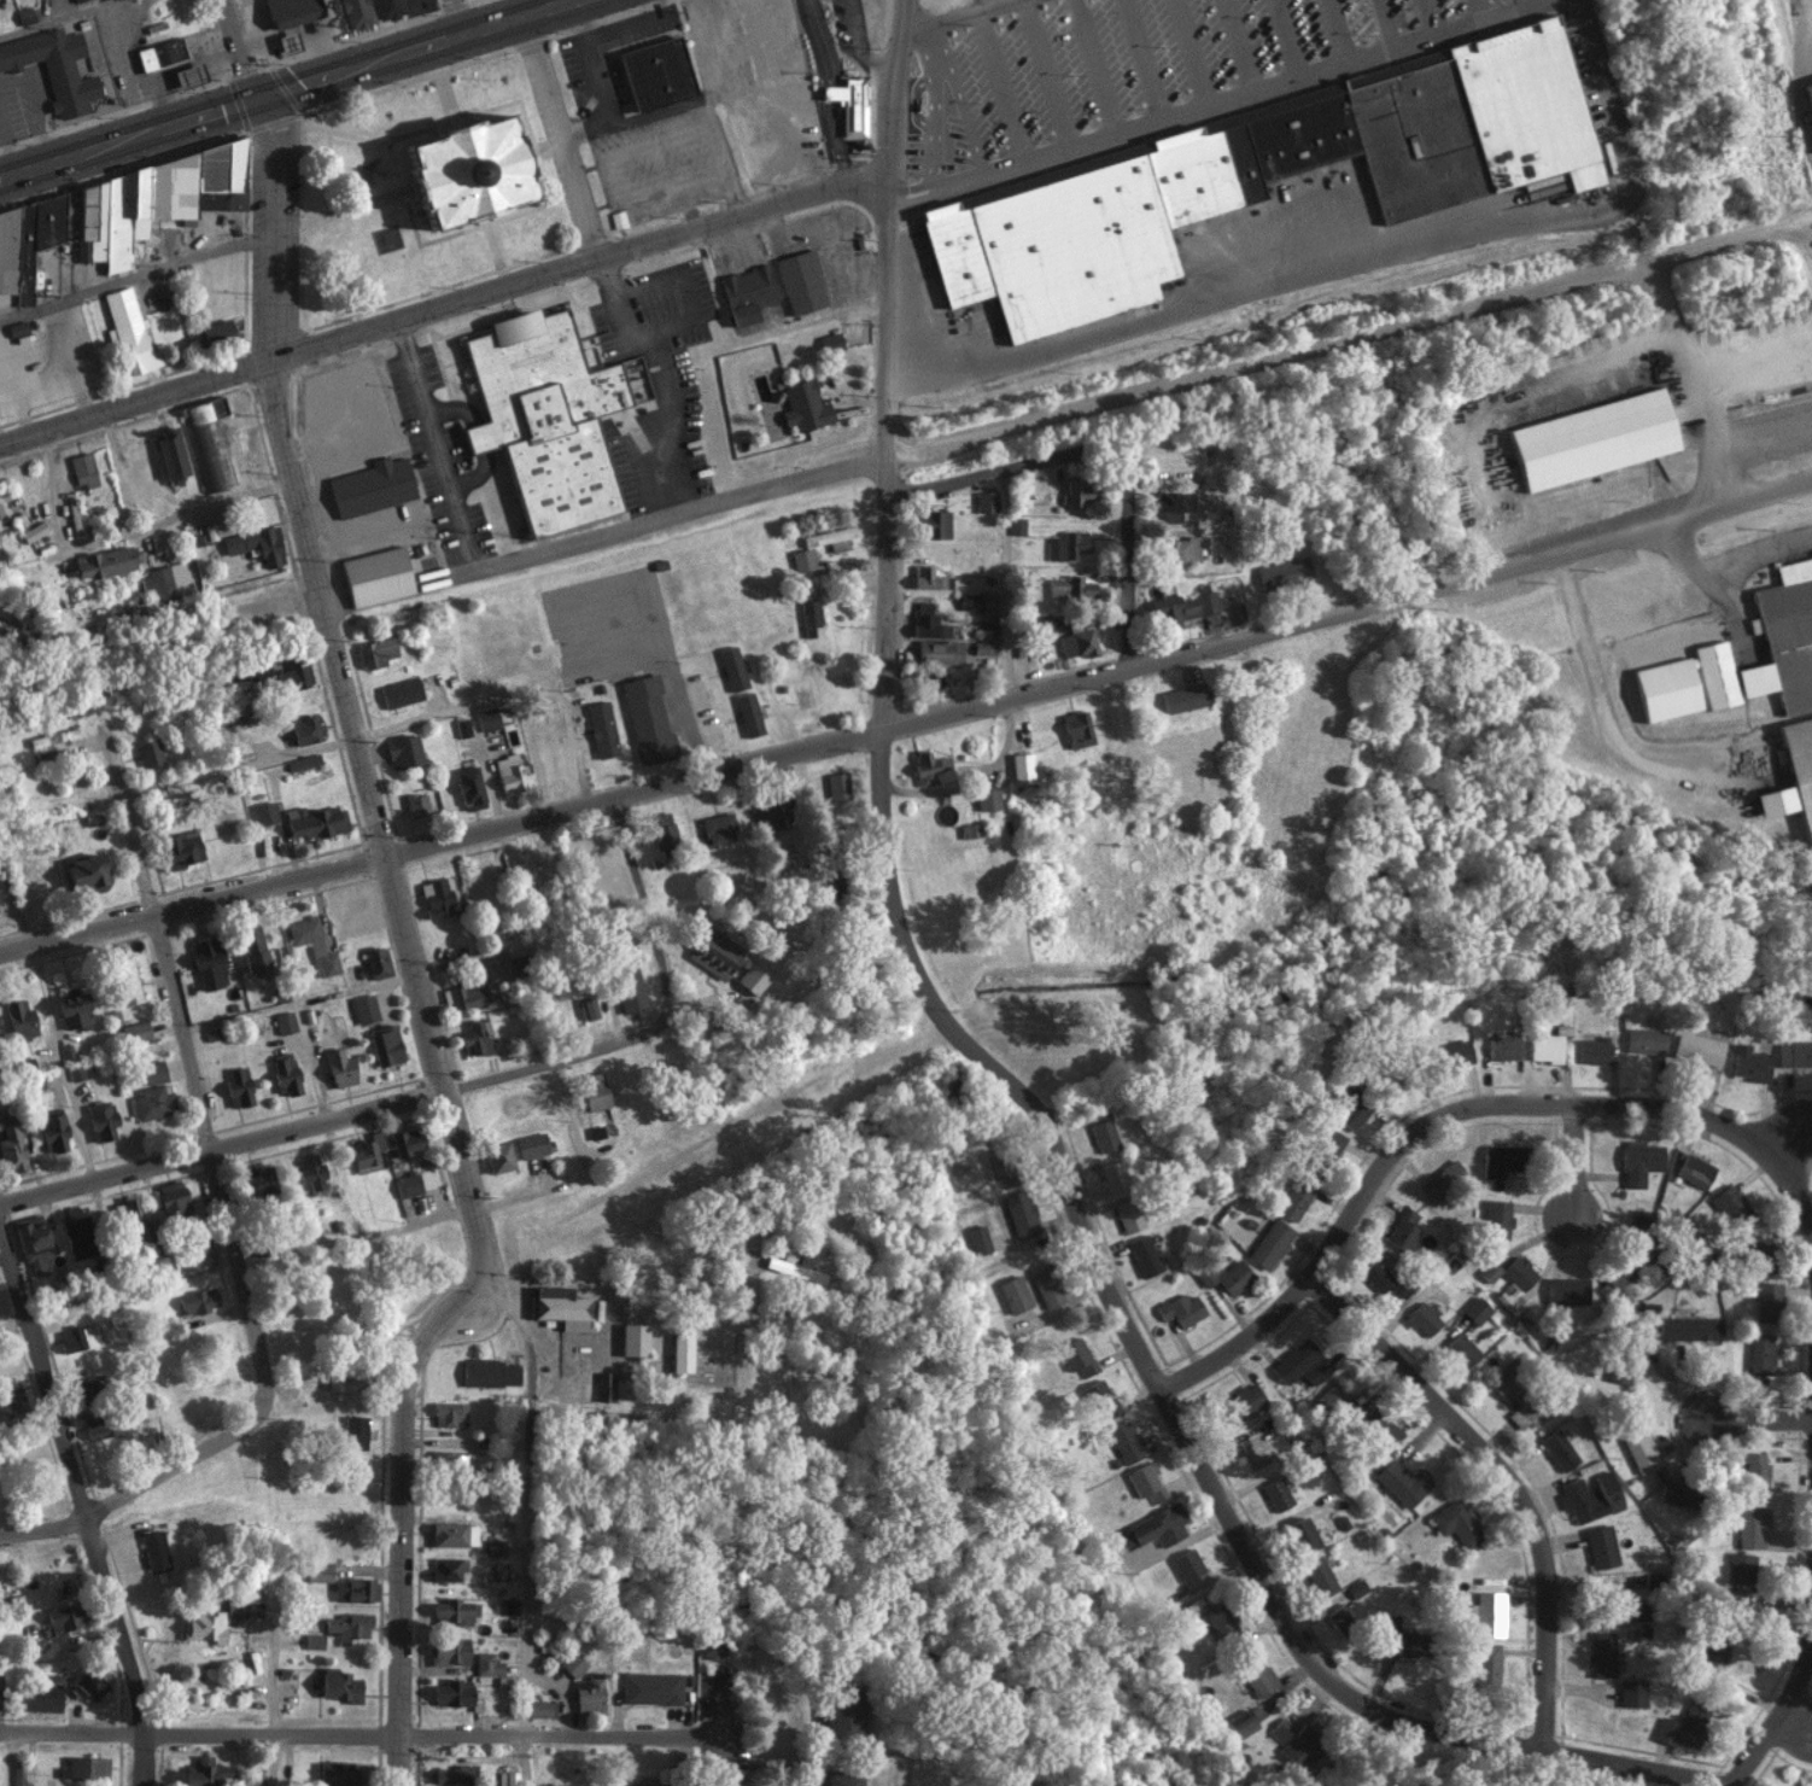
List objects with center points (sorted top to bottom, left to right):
building: (74, 0)
road: (1550, 1)
road: (1489, 2)
building: (388, 7)
building: (291, 11)
road: (1427, 11)
building: (356, 12)
road: (455, 14)
building: (23, 16)
road: (1384, 18)
road: (65, 19)
road: (955, 19)
road: (1333, 25)
road: (1284, 33)
road: (1237, 39)
building: (286, 41)
road: (1185, 46)
road: (240, 47)
building: (159, 53)
road: (1141, 53)
road: (1092, 59)
building: (53, 66)
building: (654, 72)
building: (187, 75)
road: (998, 81)
building: (1810, 82)
road: (281, 86)
road: (1199, 93)
road: (929, 101)
building: (849, 103)
road: (961, 104)
road: (562, 138)
building: (480, 174)
building: (1122, 183)
building: (145, 200)
building: (616, 218)
building: (24, 249)
road: (1360, 258)
road: (134, 276)
building: (801, 281)
building: (747, 293)
road: (444, 311)
building: (215, 329)
building: (128, 331)
building: (831, 342)
road: (889, 367)
building: (803, 405)
building: (548, 415)
building: (1594, 438)
building: (207, 443)
building: (169, 453)
road: (1015, 466)
building: (82, 469)
building: (370, 486)
building: (1077, 492)
building: (986, 501)
building: (1176, 503)
building: (0, 512)
building: (931, 523)
building: (1016, 525)
building: (831, 538)
building: (256, 544)
building: (1066, 544)
road: (557, 549)
building: (1180, 550)
building: (802, 559)
building: (101, 561)
road: (1726, 561)
building: (1282, 572)
building: (375, 576)
building: (925, 577)
building: (164, 580)
road: (1005, 582)
building: (1069, 586)
building: (977, 601)
building: (1183, 607)
road: (1348, 612)
building: (809, 615)
building: (927, 621)
building: (1783, 637)
building: (1077, 638)
building: (982, 647)
road: (1128, 649)
building: (937, 650)
building: (374, 652)
building: (731, 669)
building: (1714, 673)
building: (293, 676)
building: (1666, 688)
building: (399, 691)
building: (1182, 698)
building: (550, 710)
building: (1808, 712)
building: (748, 713)
building: (486, 718)
building: (645, 719)
road: (397, 723)
building: (461, 726)
building: (305, 729)
building: (601, 729)
building: (1076, 729)
building: (52, 736)
building: (403, 751)
building: (148, 752)
building: (302, 761)
building: (1800, 765)
building: (930, 767)
building: (1021, 767)
building: (508, 774)
building: (837, 784)
building: (468, 788)
building: (987, 799)
building: (1776, 801)
building: (416, 804)
building: (263, 812)
building: (768, 816)
building: (314, 821)
building: (661, 828)
building: (718, 828)
road: (440, 844)
building: (179, 848)
building: (86, 872)
building: (437, 897)
road: (642, 907)
building: (311, 944)
building: (252, 947)
road: (404, 949)
building: (714, 952)
building: (376, 962)
building: (206, 963)
building: (515, 965)
building: (752, 979)
building: (127, 980)
building: (627, 986)
building: (463, 994)
road: (294, 1002)
road: (294, 1004)
building: (72, 1008)
building: (364, 1008)
building: (588, 1009)
building: (18, 1019)
building: (284, 1022)
building: (134, 1032)
building: (473, 1039)
building: (1644, 1040)
building: (1548, 1044)
building: (385, 1045)
building: (1503, 1047)
building: (1697, 1049)
building: (1592, 1050)
building: (1794, 1052)
building: (1451, 1053)
building: (1749, 1063)
building: (338, 1068)
building: (78, 1069)
building: (153, 1072)
building: (284, 1073)
road: (189, 1079)
building: (238, 1087)
building: (592, 1091)
building: (151, 1103)
road: (1539, 1104)
building: (1352, 1111)
road: (334, 1115)
building: (100, 1120)
building: (595, 1132)
building: (52, 1133)
building: (1104, 1136)
building: (404, 1140)
building: (1328, 1143)
building: (10, 1146)
building: (364, 1150)
building: (513, 1151)
building: (1500, 1160)
road: (1578, 1162)
building: (1639, 1162)
building: (309, 1171)
building: (1695, 1171)
building: (1116, 1174)
building: (1442, 1180)
building: (258, 1183)
building: (407, 1185)
building: (171, 1195)
building: (1294, 1198)
building: (1731, 1208)
road: (95, 1209)
building: (1019, 1214)
building: (133, 1216)
building: (1128, 1216)
building: (1496, 1218)
building: (1639, 1224)
building: (1403, 1230)
building: (76, 1237)
building: (978, 1239)
building: (33, 1242)
building: (1269, 1243)
building: (1754, 1245)
building: (1144, 1255)
building: (794, 1270)
building: (1490, 1271)
building: (1519, 1273)
building: (1618, 1276)
building: (1233, 1277)
building: (1378, 1277)
building: (1046, 1285)
building: (1567, 1290)
building: (1013, 1294)
building: (198, 1301)
building: (1769, 1301)
building: (1507, 1302)
building: (559, 1307)
building: (1181, 1308)
building: (1475, 1309)
building: (1422, 1320)
building: (1689, 1327)
building: (77, 1337)
building: (633, 1339)
building: (1461, 1349)
building: (680, 1352)
building: (1760, 1354)
building: (1076, 1356)
building: (1302, 1362)
building: (489, 1372)
building: (1506, 1379)
building: (337, 1381)
building: (604, 1387)
road: (1159, 1394)
building: (1100, 1399)
building: (11, 1401)
building: (1243, 1401)
building: (448, 1413)
building: (1525, 1413)
road: (1761, 1419)
building: (100, 1426)
building: (1380, 1428)
building: (355, 1431)
road: (726, 1435)
building: (1126, 1442)
road: (1807, 1442)
building: (1557, 1449)
building: (1642, 1452)
building: (451, 1460)
building: (1755, 1473)
building: (1146, 1482)
road: (1502, 1482)
building: (1401, 1483)
road: (138, 1487)
building: (1670, 1492)
building: (1276, 1494)
building: (1590, 1496)
road: (81, 1500)
road: (531, 1523)
building: (1456, 1523)
building: (1155, 1527)
building: (1749, 1528)
building: (446, 1533)
building: (1302, 1534)
building: (493, 1546)
building: (1600, 1546)
building: (154, 1551)
building: (1186, 1563)
building: (448, 1568)
building: (1740, 1568)
building: (317, 1570)
building: (1319, 1575)
building: (495, 1578)
building: (1356, 1587)
building: (353, 1588)
building: (235, 1607)
building: (451, 1610)
building: (1489, 1612)
building: (64, 1615)
building: (1218, 1617)
building: (346, 1624)
building: (203, 1626)
building: (1401, 1638)
building: (312, 1640)
building: (448, 1650)
building: (713, 1650)
building: (1713, 1650)
building: (1601, 1653)
building: (1486, 1659)
building: (486, 1663)
building: (572, 1663)
building: (1256, 1674)
road: (269, 1681)
building: (90, 1682)
building: (339, 1683)
building: (650, 1687)
building: (1631, 1692)
building: (589, 1693)
building: (0, 1697)
building: (37, 1697)
road: (1777, 1704)
building: (539, 1708)
building: (841, 1709)
building: (1240, 1722)
road: (1793, 1723)
building: (1683, 1724)
road: (367, 1734)
building: (1296, 1741)
road: (6, 1758)
road: (273, 1759)
building: (86, 1767)
building: (205, 1772)
building: (17, 1773)
building: (337, 1773)
building: (446, 1774)
building: (840, 1778)
building: (648, 1784)

